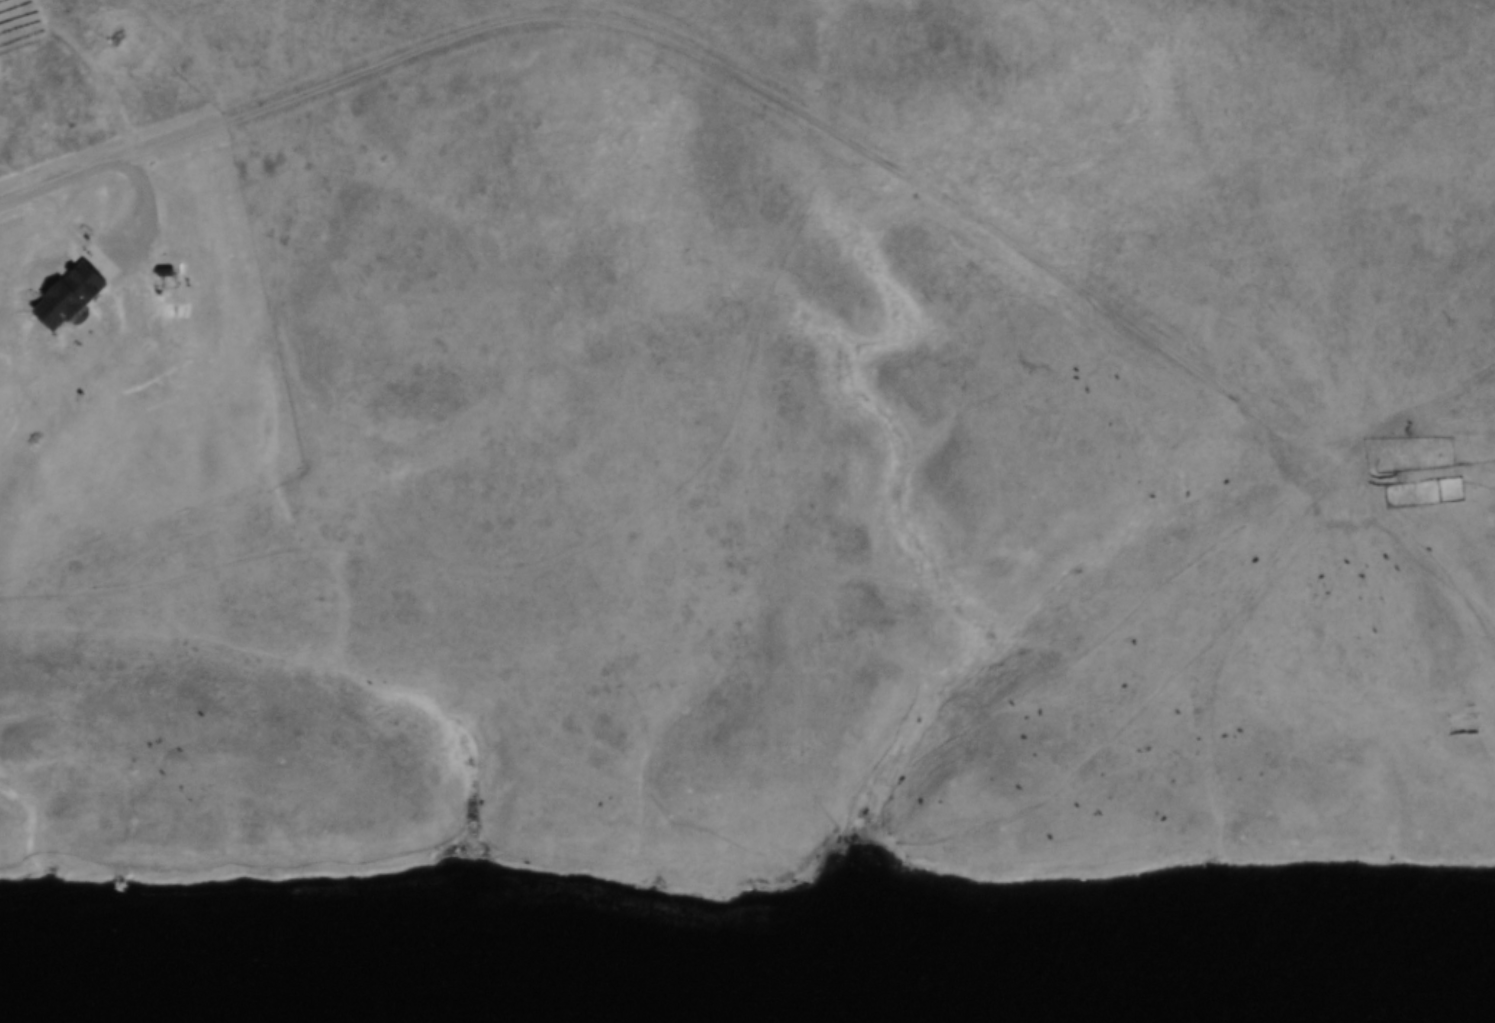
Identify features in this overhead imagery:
road: (810, 114)
road: (1422, 424)

